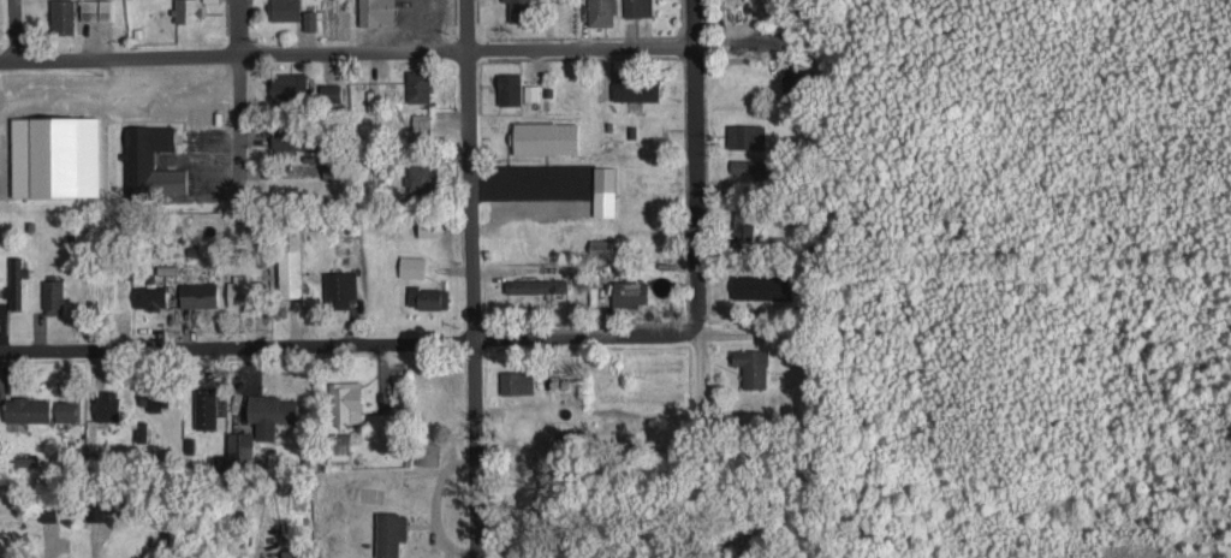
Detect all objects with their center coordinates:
building: (638, 7)
building: (96, 8)
building: (284, 8)
building: (519, 10)
building: (186, 11)
building: (377, 11)
building: (601, 12)
building: (63, 17)
building: (310, 19)
road: (16, 31)
road: (406, 49)
building: (799, 79)
road: (237, 83)
building: (290, 84)
building: (417, 84)
building: (509, 88)
building: (636, 88)
building: (331, 90)
building: (531, 91)
building: (371, 96)
building: (420, 119)
building: (747, 135)
building: (546, 136)
building: (292, 137)
building: (55, 155)
building: (150, 160)
road: (694, 164)
building: (747, 165)
building: (333, 170)
building: (421, 176)
building: (605, 190)
building: (428, 227)
building: (743, 228)
building: (602, 247)
building: (290, 260)
building: (412, 265)
road: (466, 279)
building: (14, 281)
building: (536, 285)
building: (340, 286)
building: (244, 290)
building: (198, 292)
building: (631, 292)
building: (149, 295)
building: (53, 296)
building: (428, 296)
road: (615, 337)
building: (753, 366)
building: (517, 381)
building: (154, 397)
building: (345, 402)
building: (106, 404)
building: (206, 406)
building: (26, 408)
building: (67, 409)
building: (270, 412)
building: (141, 431)
building: (339, 445)
building: (239, 449)
building: (428, 452)
building: (25, 459)
building: (95, 511)
building: (48, 514)
building: (389, 533)
building: (293, 553)

